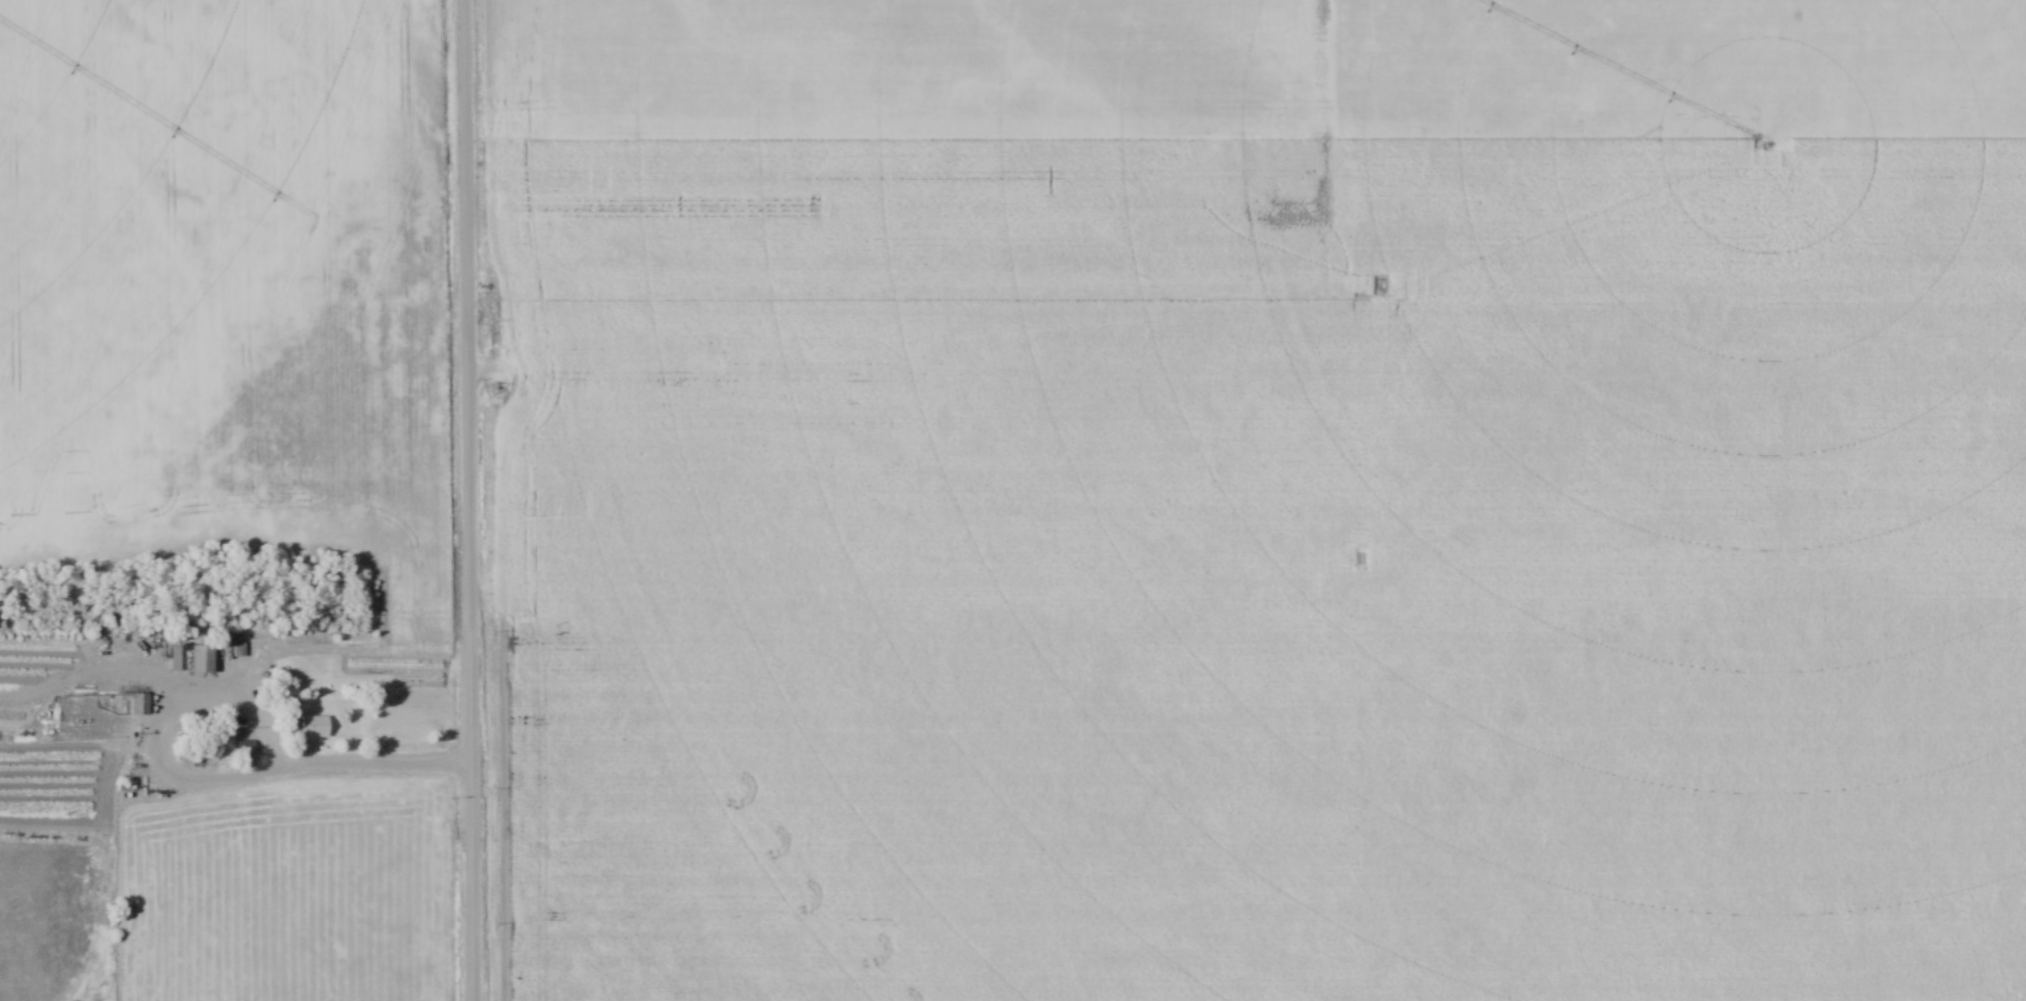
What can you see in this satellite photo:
road: (463, 500)
building: (265, 632)
building: (203, 657)
building: (140, 702)
building: (316, 726)
building: (246, 747)
road: (354, 761)

